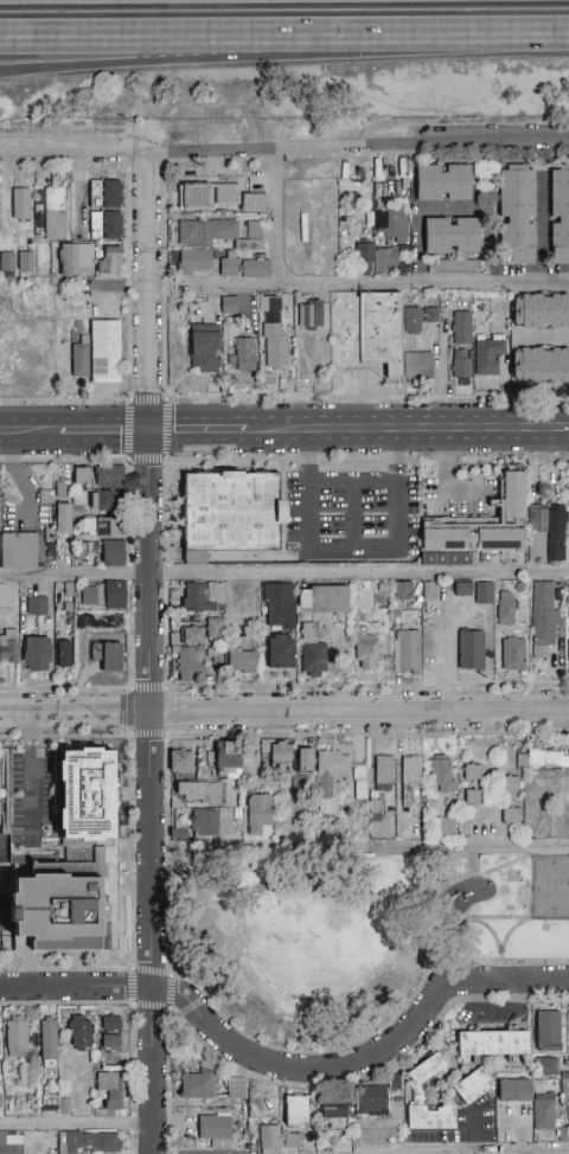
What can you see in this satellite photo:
road: (459, 38)
road: (174, 39)
road: (174, 56)
road: (65, 128)
road: (284, 148)
road: (426, 152)
road: (212, 160)
road: (274, 160)
road: (143, 168)
road: (63, 169)
building: (443, 182)
building: (106, 193)
building: (226, 194)
building: (194, 197)
building: (255, 203)
building: (21, 205)
building: (55, 213)
road: (275, 217)
building: (517, 217)
building: (560, 217)
road: (126, 223)
building: (391, 224)
building: (106, 225)
road: (542, 229)
building: (218, 233)
building: (450, 236)
building: (76, 259)
building: (375, 259)
building: (26, 261)
building: (6, 262)
building: (196, 262)
building: (109, 263)
building: (453, 267)
building: (229, 268)
building: (255, 269)
road: (372, 283)
road: (73, 286)
road: (126, 286)
road: (174, 295)
building: (229, 304)
building: (270, 304)
building: (541, 310)
building: (311, 315)
building: (462, 328)
building: (377, 333)
building: (275, 346)
road: (127, 347)
building: (106, 351)
building: (204, 351)
building: (245, 354)
building: (490, 357)
building: (79, 361)
building: (460, 365)
building: (544, 365)
road: (442, 376)
road: (249, 399)
road: (64, 400)
road: (146, 400)
road: (127, 429)
road: (181, 430)
road: (391, 430)
road: (40, 431)
road: (115, 431)
road: (165, 448)
road: (367, 459)
road: (63, 460)
building: (568, 473)
building: (76, 475)
building: (109, 477)
building: (87, 480)
road: (352, 480)
building: (63, 491)
building: (43, 494)
building: (107, 501)
building: (567, 507)
road: (127, 513)
road: (165, 513)
building: (231, 513)
road: (353, 515)
building: (64, 519)
building: (479, 526)
building: (106, 528)
building: (546, 536)
building: (18, 551)
road: (353, 551)
building: (113, 554)
road: (284, 573)
road: (128, 575)
road: (166, 575)
building: (458, 588)
building: (403, 590)
building: (484, 594)
building: (103, 595)
building: (203, 597)
building: (322, 600)
building: (244, 601)
building: (36, 607)
building: (277, 607)
building: (505, 608)
building: (544, 617)
building: (213, 629)
road: (128, 635)
building: (193, 635)
road: (166, 636)
building: (8, 647)
building: (568, 647)
building: (64, 648)
building: (471, 649)
building: (365, 650)
building: (407, 650)
road: (148, 652)
building: (281, 652)
building: (312, 653)
building: (37, 654)
building: (512, 654)
building: (103, 655)
building: (242, 660)
building: (190, 665)
road: (367, 686)
road: (64, 688)
road: (129, 688)
road: (283, 711)
building: (280, 751)
building: (228, 759)
building: (305, 759)
building: (543, 759)
building: (181, 761)
building: (411, 770)
building: (472, 771)
building: (384, 774)
building: (442, 774)
road: (33, 776)
building: (338, 778)
building: (299, 784)
building: (510, 784)
building: (198, 791)
building: (472, 797)
building: (261, 815)
building: (510, 815)
building: (211, 825)
building: (446, 826)
road: (471, 847)
road: (132, 852)
road: (168, 853)
building: (70, 861)
road: (482, 873)
park: (551, 889)
road: (525, 919)
park: (347, 929)
road: (536, 962)
road: (313, 1001)
road: (133, 1002)
road: (66, 1006)
building: (548, 1031)
building: (79, 1032)
building: (110, 1032)
road: (423, 1036)
building: (17, 1037)
building: (492, 1043)
building: (49, 1046)
road: (217, 1054)
road: (129, 1060)
building: (546, 1066)
road: (288, 1071)
road: (167, 1079)
building: (390, 1081)
building: (197, 1086)
building: (472, 1086)
building: (109, 1089)
building: (236, 1089)
building: (417, 1090)
building: (49, 1101)
building: (370, 1101)
building: (296, 1110)
building: (333, 1115)
building: (544, 1116)
road: (130, 1123)
road: (76, 1124)
building: (216, 1129)
building: (269, 1140)
building: (292, 1140)
building: (89, 1142)
road: (130, 1142)
building: (11, 1143)
road: (168, 1152)
road: (514, 1153)

